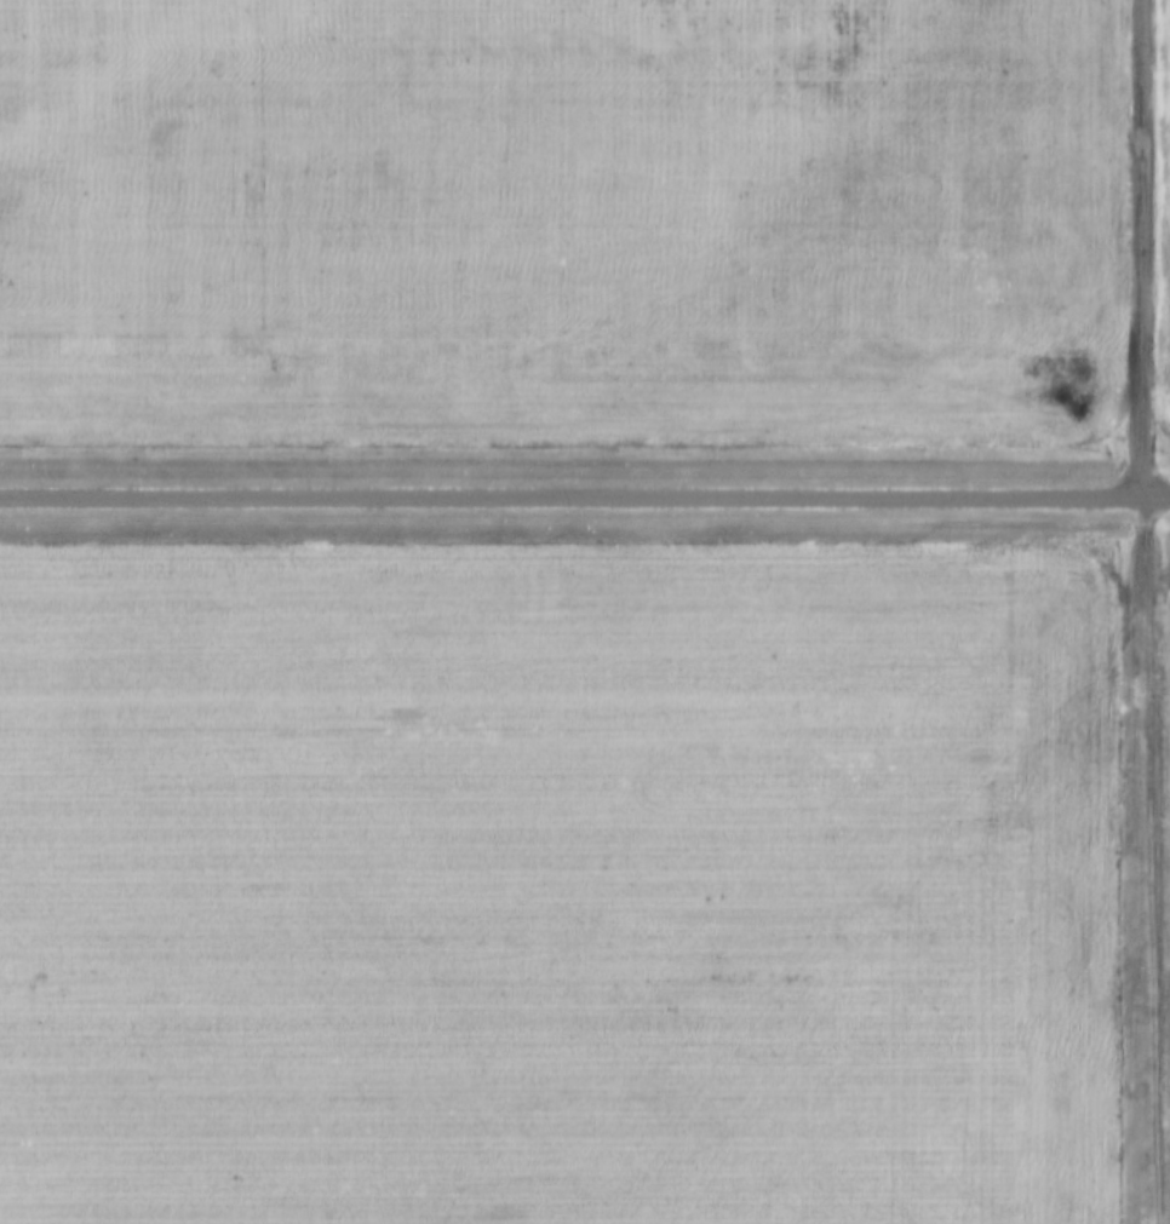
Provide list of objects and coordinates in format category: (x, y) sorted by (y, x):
road: (1147, 249)
road: (585, 499)
road: (1151, 861)

